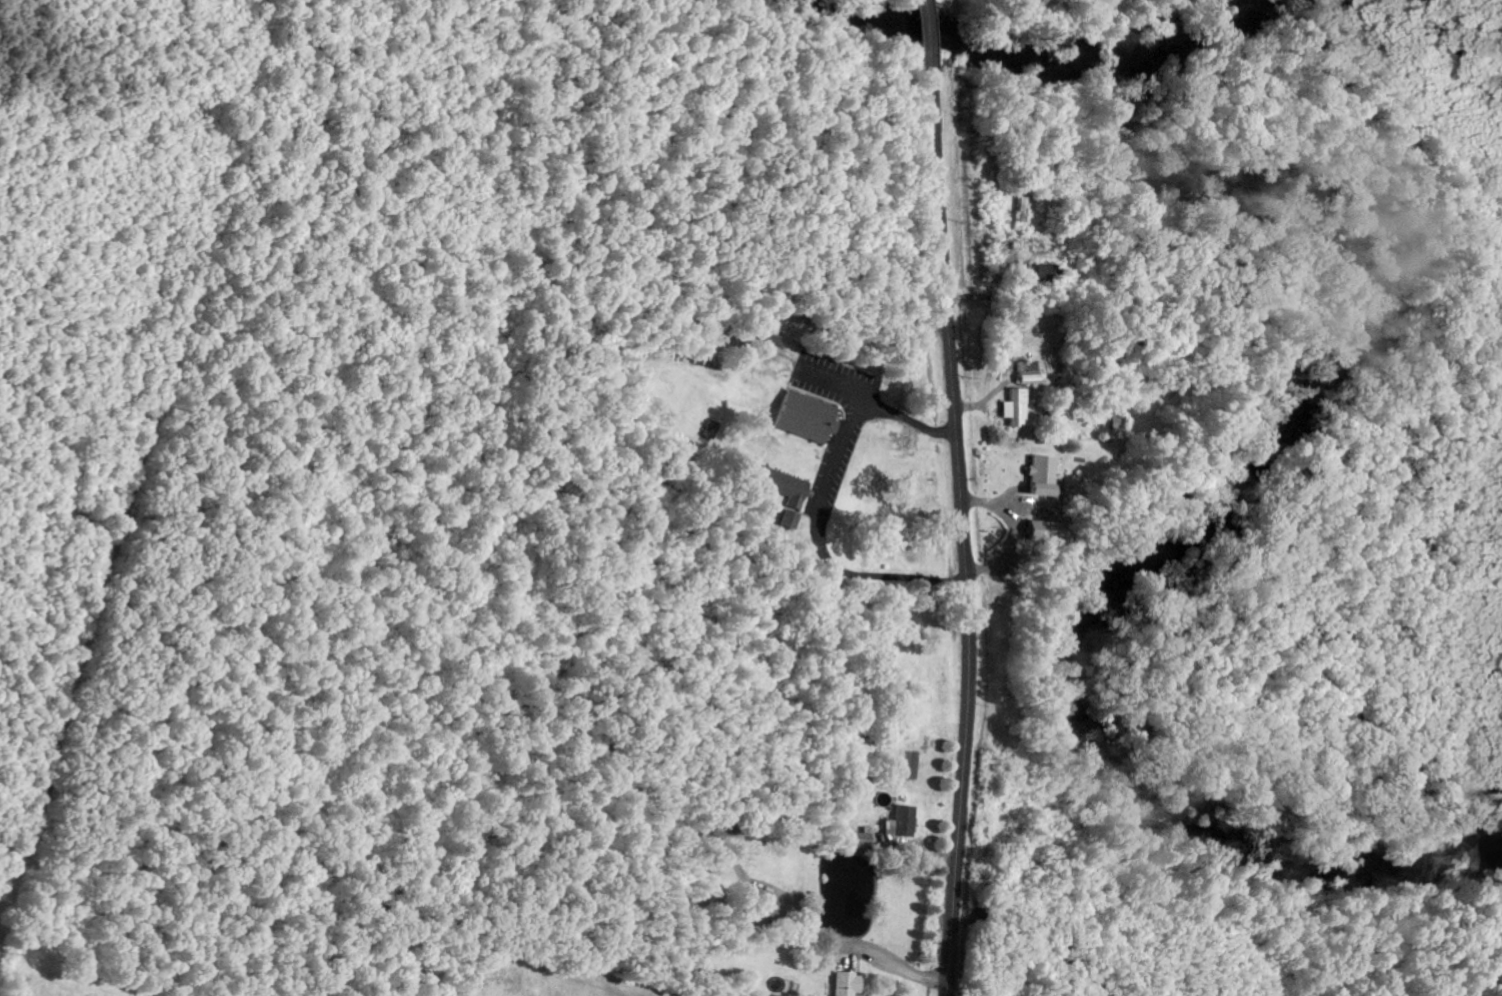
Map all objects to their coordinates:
road: (926, 33)
building: (1040, 273)
building: (768, 331)
building: (1007, 362)
building: (1029, 372)
parking lot: (834, 378)
building: (1016, 407)
building: (807, 415)
road: (907, 416)
road: (851, 423)
building: (709, 427)
river: (1264, 450)
parking lot: (831, 472)
building: (1042, 475)
building: (773, 476)
building: (785, 512)
building: (871, 529)
road: (962, 531)
building: (1045, 532)
road: (872, 573)
building: (901, 822)
building: (863, 837)
building: (763, 902)
building: (847, 984)

